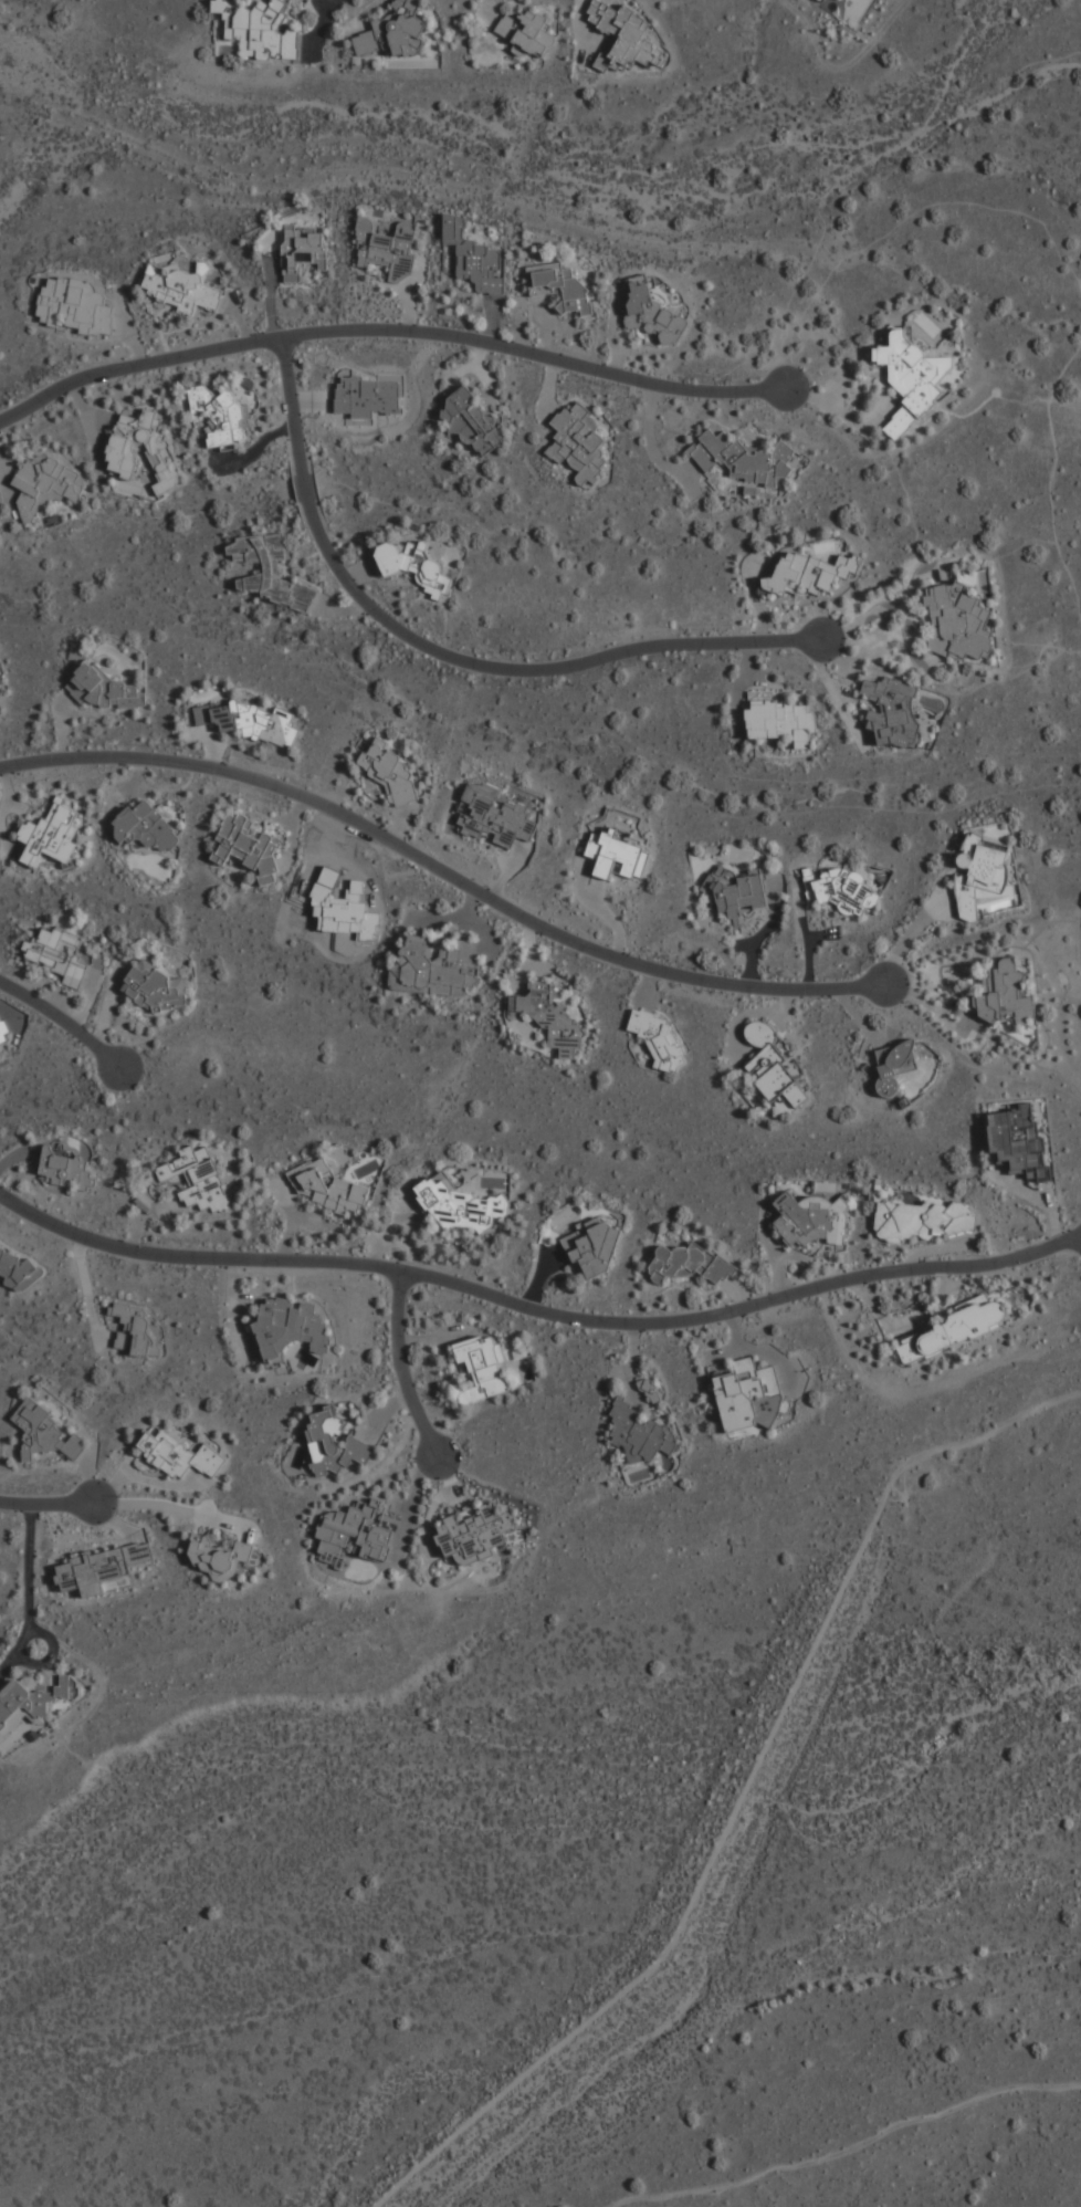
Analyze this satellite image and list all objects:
building: (260, 29)
building: (393, 32)
building: (524, 32)
building: (622, 36)
building: (385, 249)
building: (301, 251)
building: (473, 259)
building: (559, 285)
building: (181, 290)
building: (74, 306)
building: (651, 313)
road: (347, 332)
building: (910, 379)
road: (741, 390)
building: (220, 415)
building: (472, 421)
building: (577, 443)
building: (119, 450)
building: (742, 458)
road: (1056, 466)
building: (49, 479)
building: (412, 565)
building: (270, 571)
building: (807, 573)
road: (877, 613)
building: (956, 621)
road: (444, 652)
building: (99, 687)
building: (0, 693)
building: (891, 710)
building: (248, 721)
building: (781, 721)
building: (388, 772)
building: (493, 817)
building: (145, 827)
building: (50, 835)
building: (248, 847)
building: (616, 854)
road: (445, 875)
building: (982, 878)
building: (736, 890)
building: (846, 890)
building: (57, 954)
building: (432, 967)
building: (153, 987)
building: (1003, 994)
road: (40, 1000)
building: (549, 1017)
building: (2, 1032)
building: (658, 1040)
road: (102, 1048)
building: (893, 1065)
building: (772, 1066)
building: (1017, 1141)
building: (65, 1168)
building: (198, 1179)
building: (326, 1188)
building: (463, 1206)
building: (812, 1215)
building: (920, 1218)
building: (591, 1247)
building: (689, 1264)
building: (17, 1270)
road: (535, 1307)
building: (290, 1326)
building: (948, 1331)
road: (399, 1367)
building: (481, 1367)
building: (748, 1397)
building: (42, 1432)
building: (639, 1434)
building: (332, 1443)
building: (177, 1454)
road: (48, 1499)
road: (166, 1504)
building: (473, 1535)
building: (219, 1556)
building: (101, 1568)
road: (28, 1589)
building: (35, 1693)
road: (742, 1797)
road: (848, 2147)

